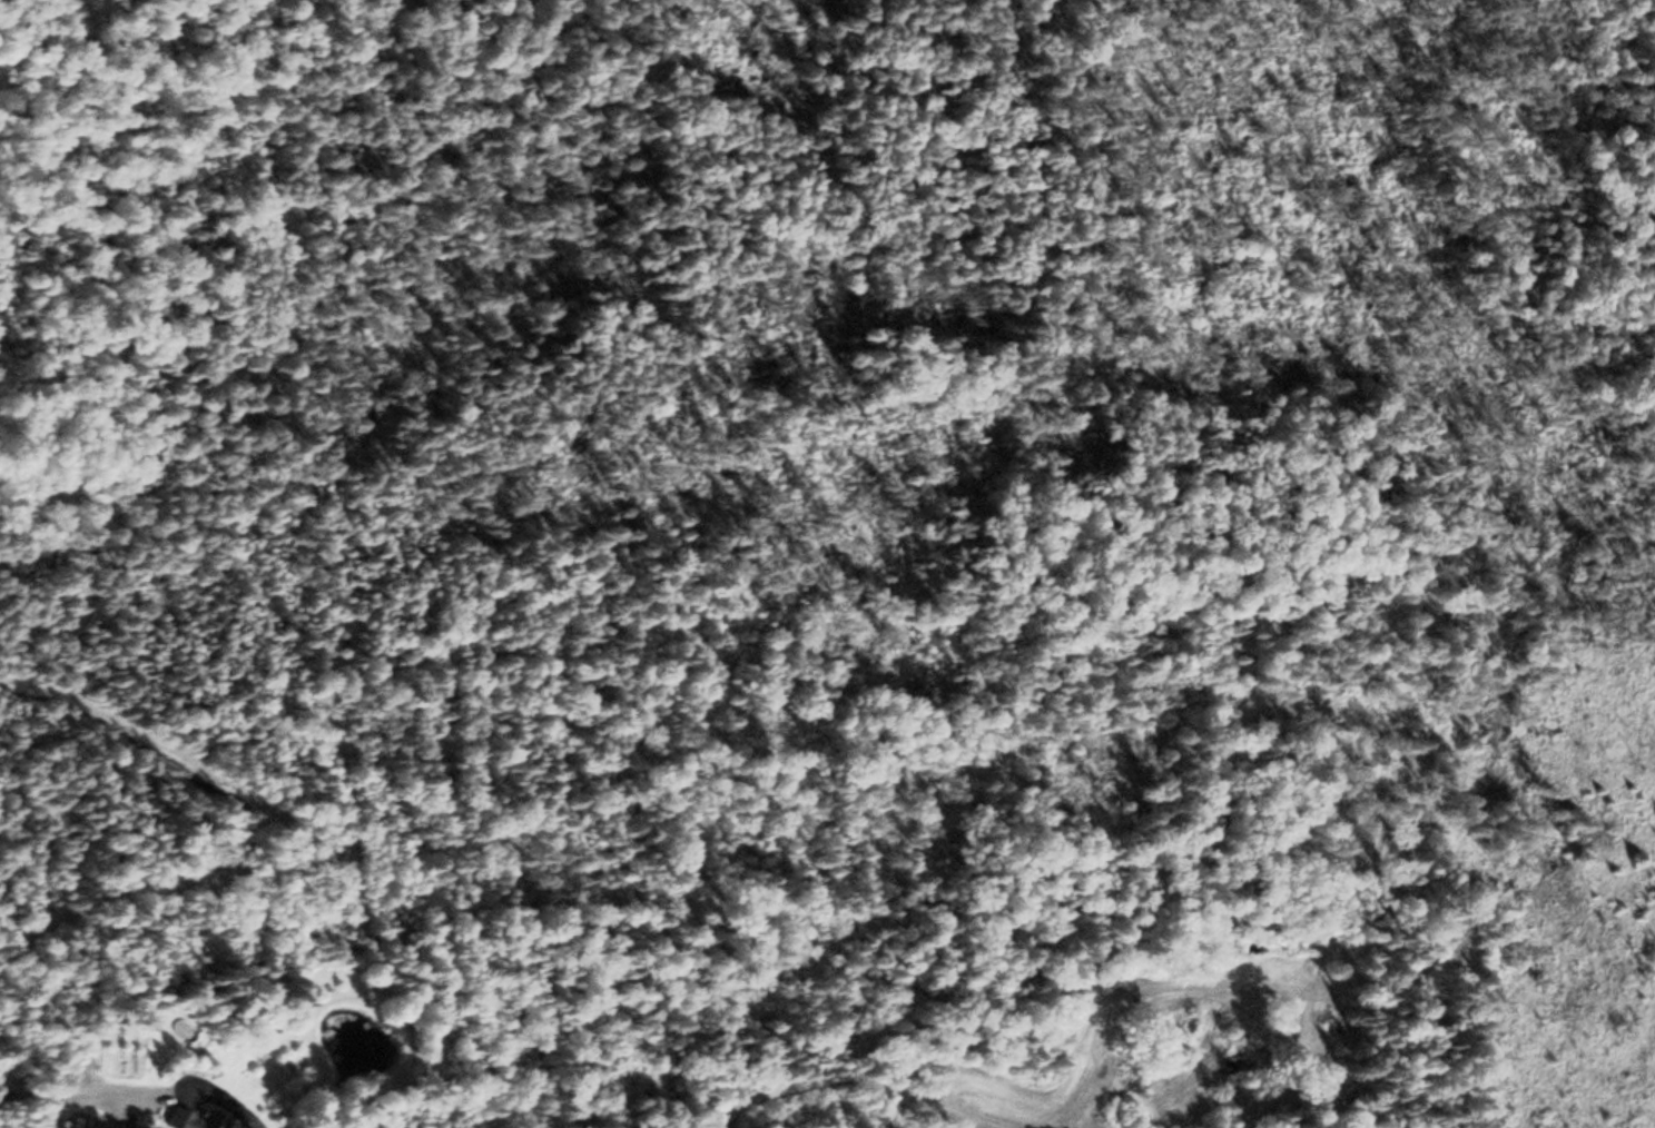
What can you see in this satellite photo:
building: (80, 1086)
building: (194, 1119)
building: (90, 1120)
building: (115, 1127)

